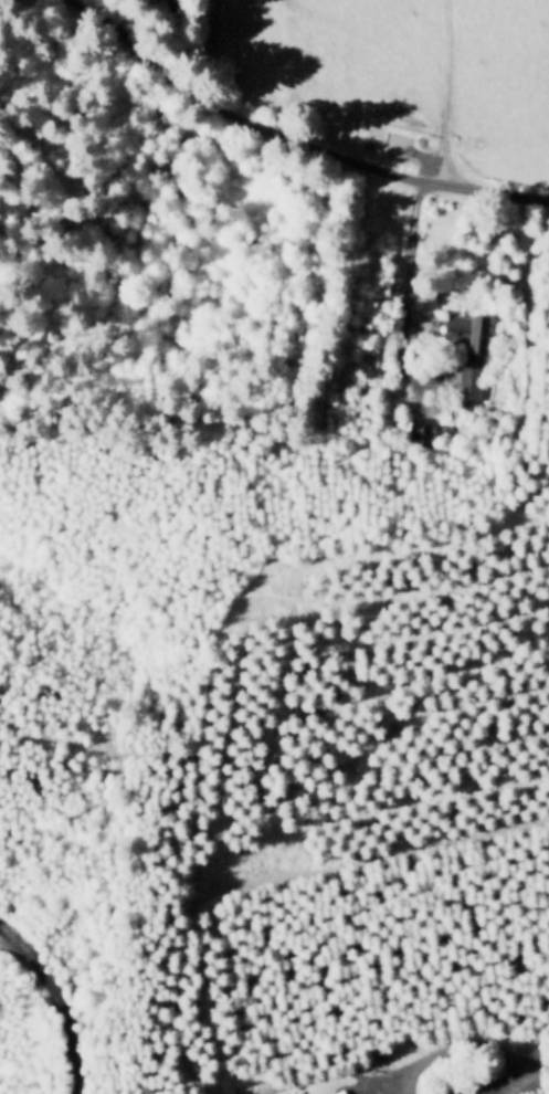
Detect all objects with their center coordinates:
road: (126, 19)
road: (452, 99)
road: (291, 138)
road: (400, 319)
building: (468, 350)
building: (425, 428)
road: (59, 1000)
road: (465, 1045)
road: (548, 1070)
road: (321, 1076)
road: (522, 1079)
road: (386, 1081)
building: (342, 1092)

